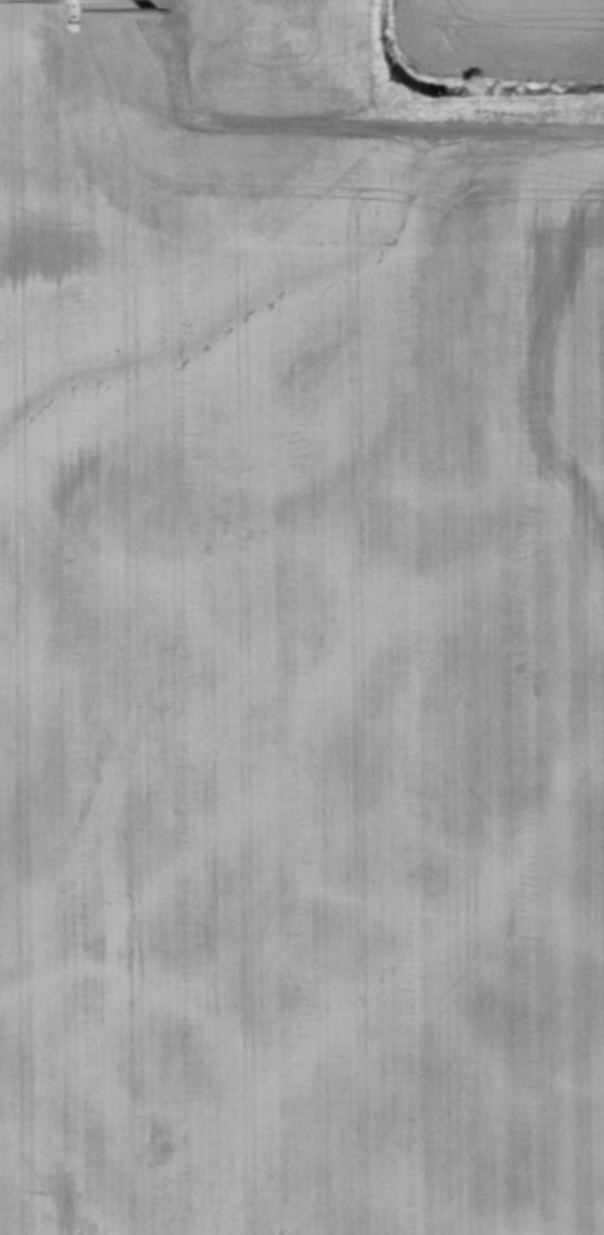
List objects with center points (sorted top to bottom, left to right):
wind turbine: (117, 21)
road: (388, 137)

